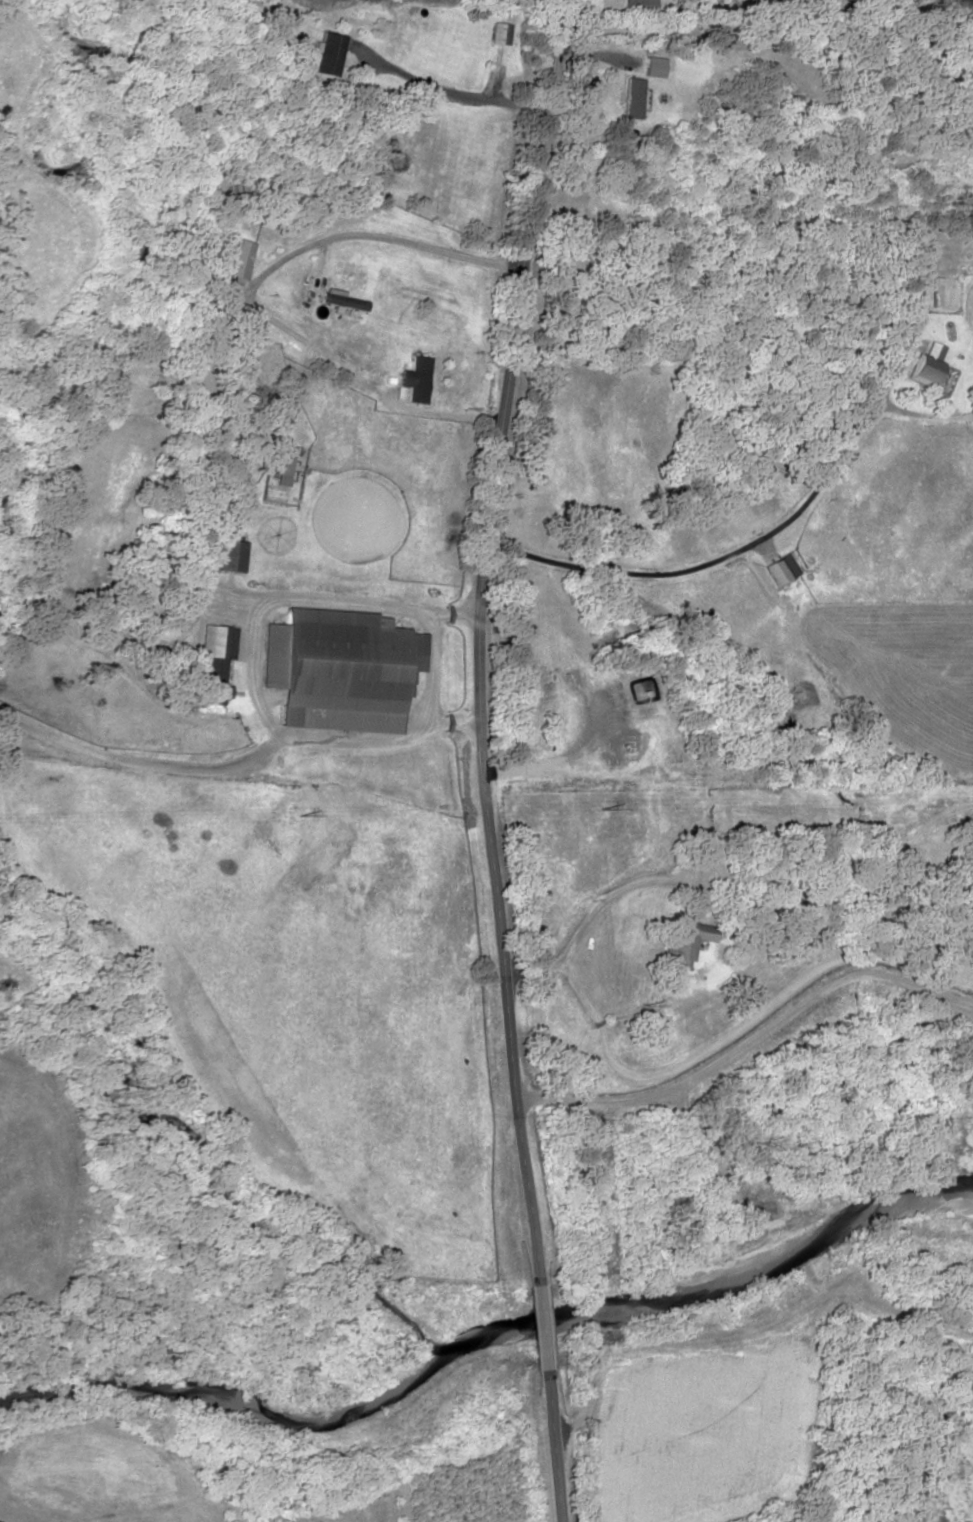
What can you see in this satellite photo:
building: (636, 7)
building: (712, 24)
building: (501, 34)
building: (327, 54)
building: (629, 98)
building: (237, 259)
building: (208, 293)
building: (902, 300)
building: (339, 301)
building: (220, 315)
building: (921, 366)
building: (411, 379)
building: (228, 556)
building: (775, 570)
building: (177, 601)
building: (213, 661)
building: (339, 670)
road: (510, 760)
power tower: (599, 807)
power tower: (290, 814)
building: (680, 944)
road: (760, 1041)

